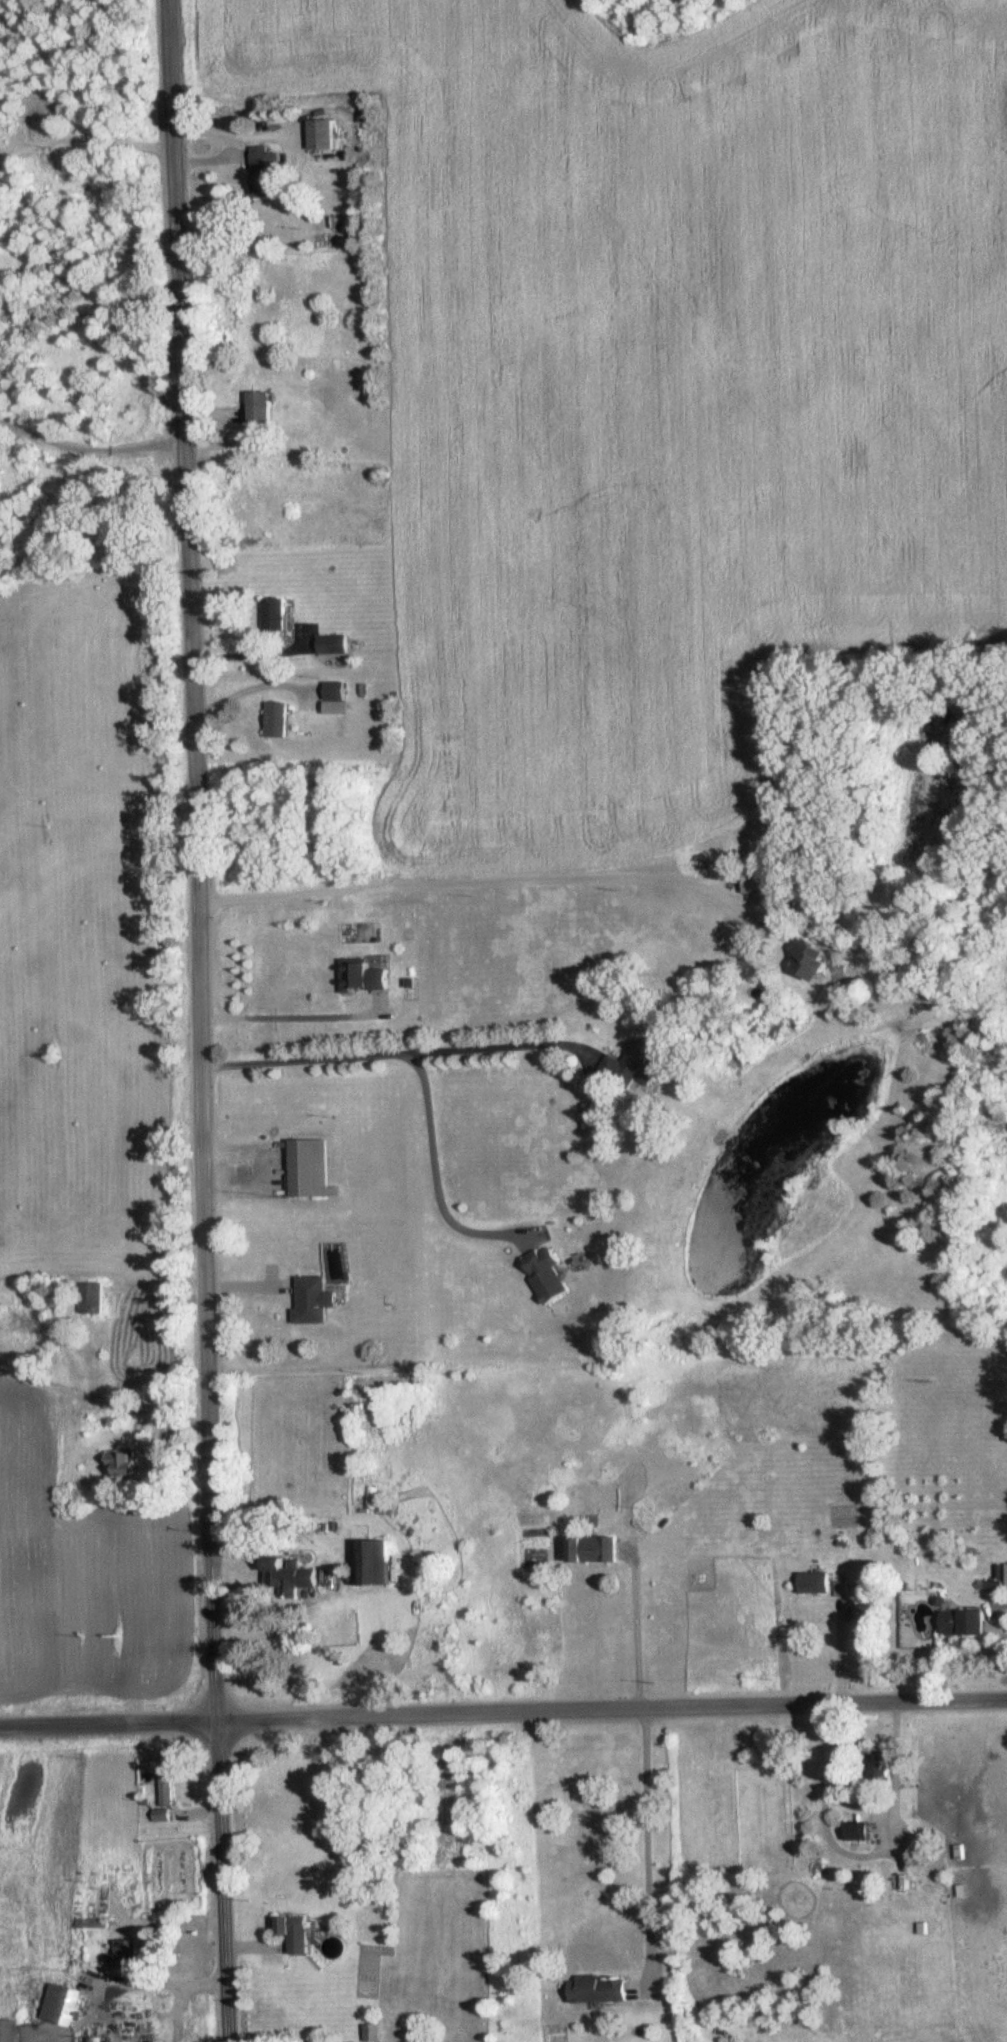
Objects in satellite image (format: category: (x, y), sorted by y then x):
road: (311, 113)
building: (321, 133)
road: (209, 157)
building: (263, 169)
building: (257, 408)
road: (89, 446)
building: (272, 615)
building: (331, 644)
road: (253, 653)
road: (246, 688)
building: (333, 690)
building: (275, 719)
road: (483, 879)
building: (756, 881)
building: (804, 959)
building: (363, 975)
road: (288, 1014)
road: (204, 1020)
road: (509, 1044)
road: (313, 1058)
building: (629, 1066)
building: (594, 1117)
building: (308, 1168)
road: (437, 1177)
building: (544, 1274)
building: (91, 1297)
building: (312, 1299)
building: (384, 1309)
building: (117, 1462)
building: (590, 1549)
building: (369, 1562)
building: (286, 1576)
building: (813, 1581)
road: (997, 1614)
building: (960, 1621)
road: (636, 1627)
road: (841, 1653)
road: (503, 1708)
building: (877, 1768)
building: (165, 1792)
building: (856, 1827)
road: (648, 1843)
road: (864, 1855)
building: (900, 1887)
building: (291, 1932)
building: (124, 1952)
building: (597, 1989)
road: (163, 2001)
building: (60, 2004)
building: (8, 2030)
building: (371, 2032)

